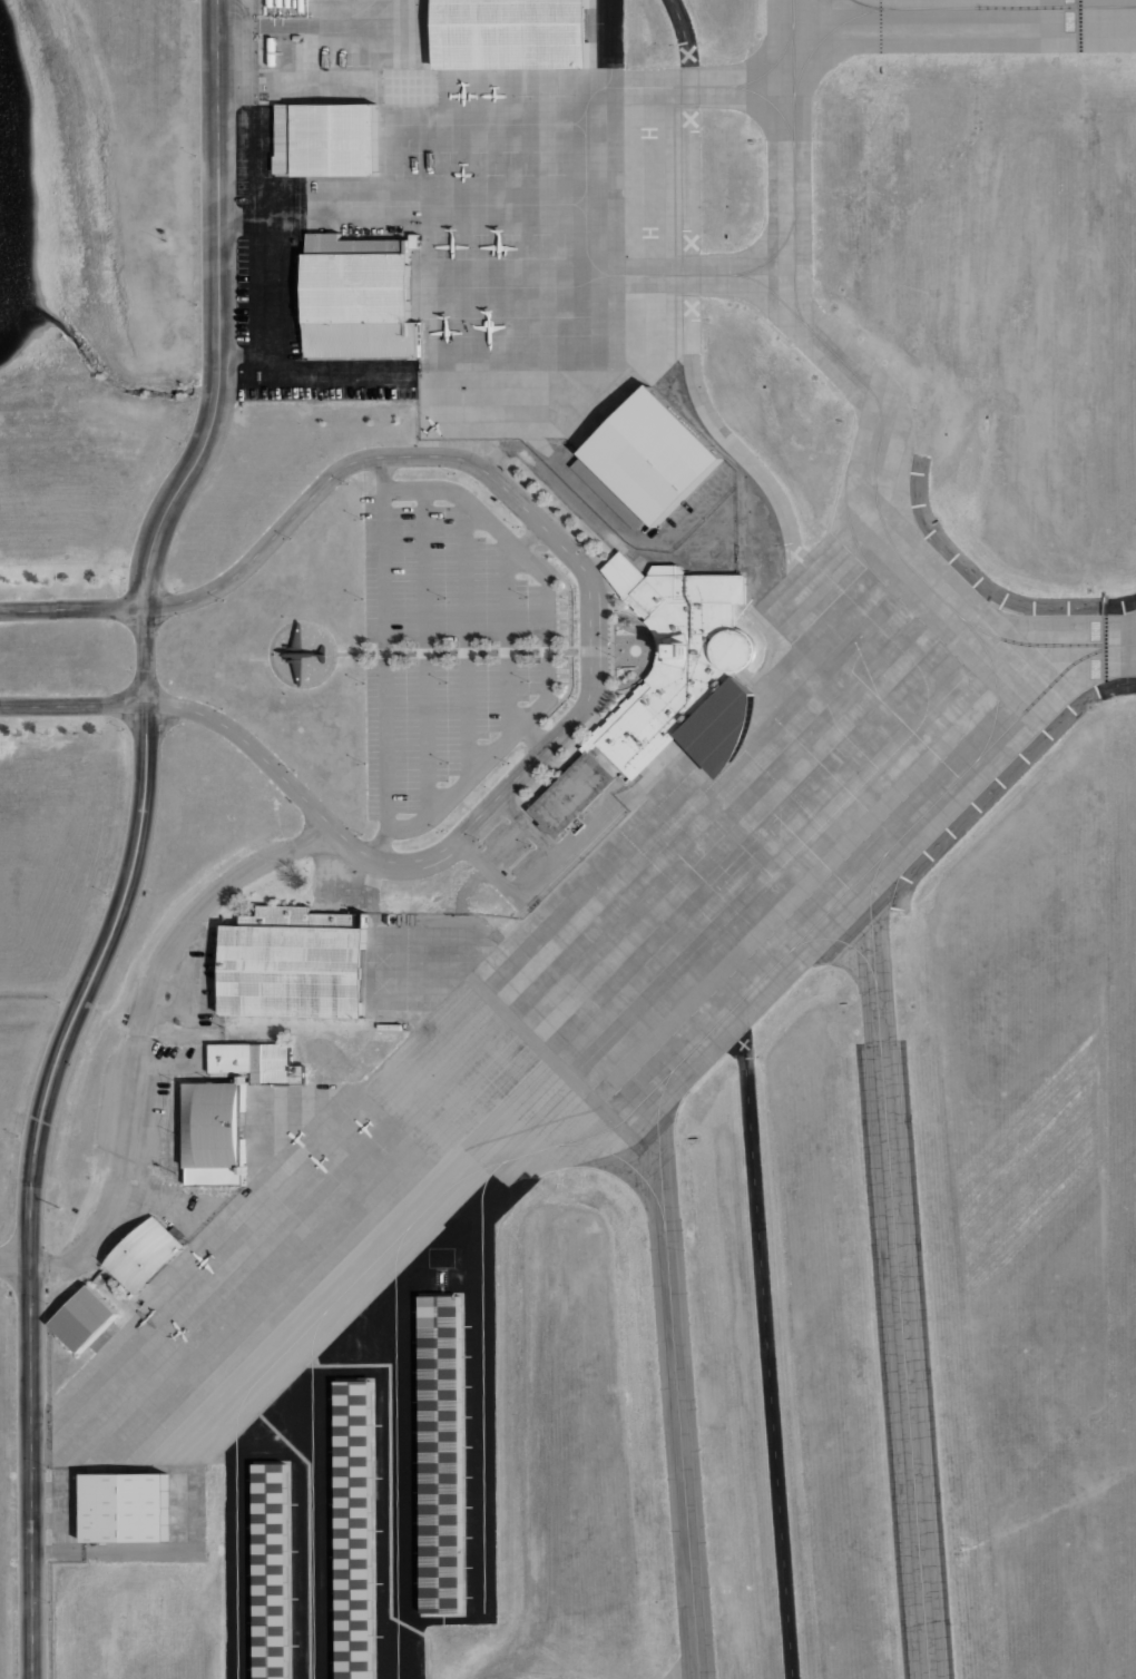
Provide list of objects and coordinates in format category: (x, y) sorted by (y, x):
airport taxiway: (963, 8)
airport taxiway: (991, 9)
road: (235, 27)
building: (511, 35)
airport taxiway: (792, 42)
road: (235, 87)
airport taxiway: (761, 87)
building: (327, 139)
airport taxiway: (792, 208)
road: (286, 213)
building: (415, 240)
airport apron: (549, 261)
airport taxiway: (761, 265)
road: (270, 285)
building: (360, 298)
airport taxiway: (853, 374)
building: (655, 455)
road: (331, 477)
building: (611, 493)
road: (506, 622)
airport taxiway: (986, 634)
road: (464, 640)
road: (272, 642)
road: (546, 647)
parking lot: (443, 649)
road: (423, 651)
road: (497, 652)
building: (679, 655)
road: (384, 659)
airport taxiway: (993, 686)
building: (618, 718)
building: (726, 730)
building: (574, 796)
road: (527, 827)
road: (332, 829)
road: (136, 841)
road: (502, 844)
airport: (631, 875)
road: (535, 880)
building: (297, 916)
airport taxiway: (841, 942)
building: (294, 970)
road: (139, 1028)
building: (257, 1062)
airport taxiway: (674, 1067)
airport apron: (512, 1132)
building: (216, 1135)
airport taxiway: (628, 1166)
airport taxiway: (441, 1192)
road: (164, 1199)
building: (147, 1254)
road: (14, 1264)
airport taxiway: (895, 1264)
building: (85, 1319)
road: (766, 1357)
building: (443, 1455)
road: (70, 1504)
building: (126, 1508)
building: (355, 1531)
road: (178, 1551)
road: (57, 1552)
building: (272, 1572)

